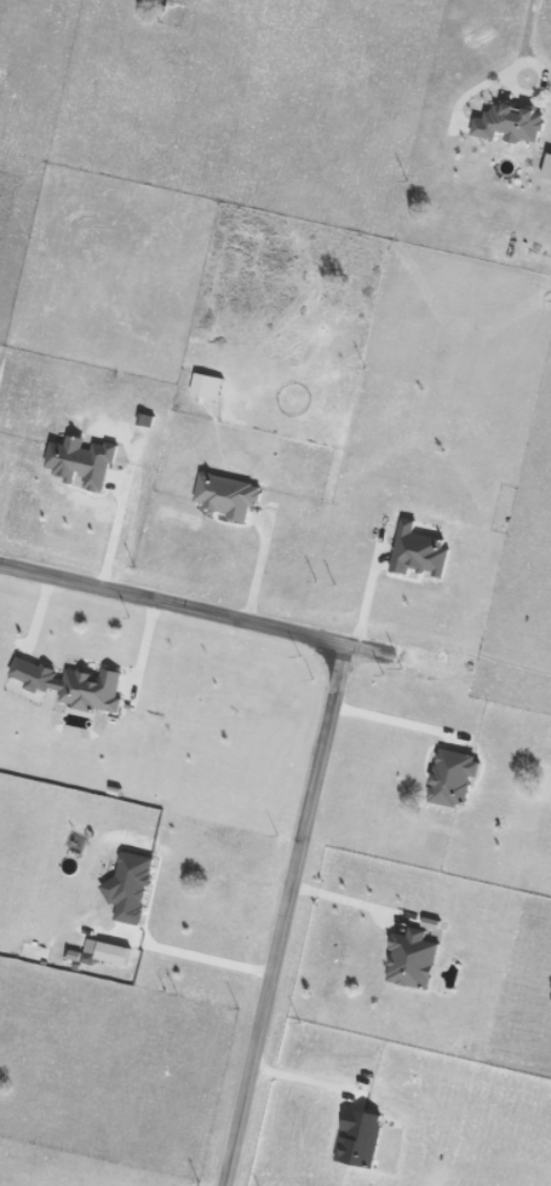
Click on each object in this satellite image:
road: (527, 41)
building: (509, 123)
building: (547, 168)
building: (207, 385)
building: (81, 461)
building: (225, 494)
road: (122, 513)
building: (419, 552)
road: (258, 566)
road: (368, 595)
road: (220, 617)
road: (142, 655)
building: (71, 684)
road: (396, 720)
building: (453, 776)
building: (130, 886)
road: (350, 906)
road: (288, 916)
building: (113, 952)
building: (412, 958)
road: (211, 966)
building: (358, 1136)

